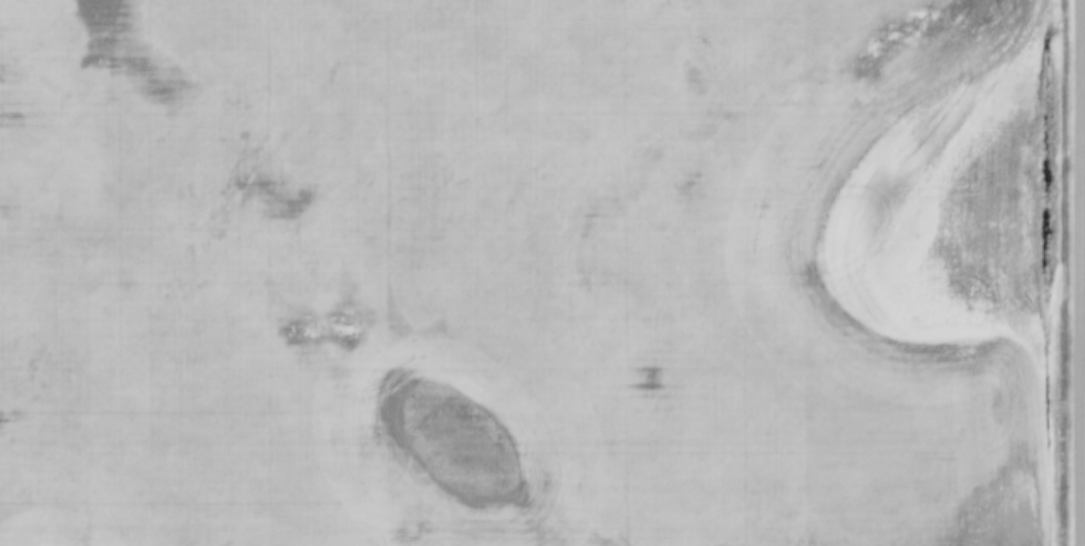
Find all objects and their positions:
road: (1079, 272)

